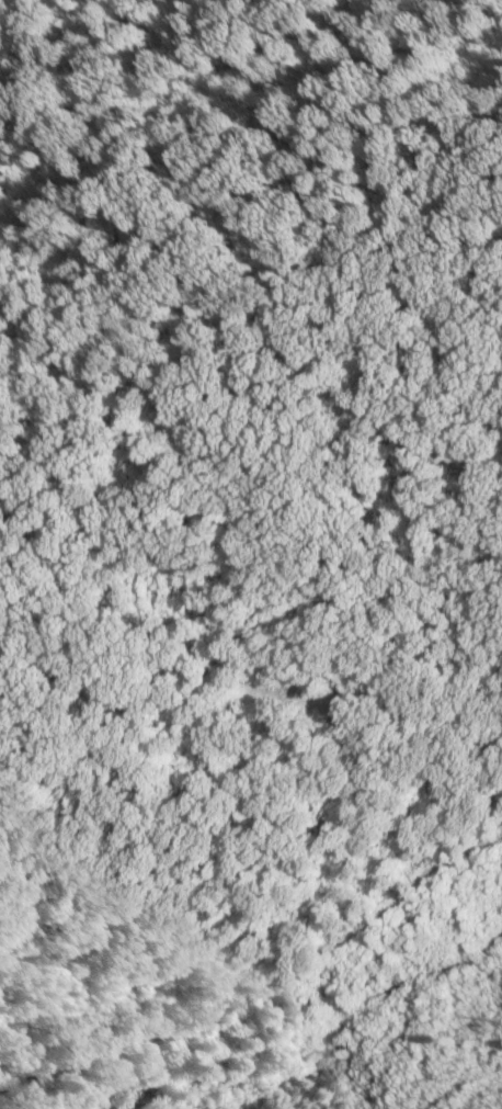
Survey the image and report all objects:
road: (271, 966)
road: (46, 1046)

